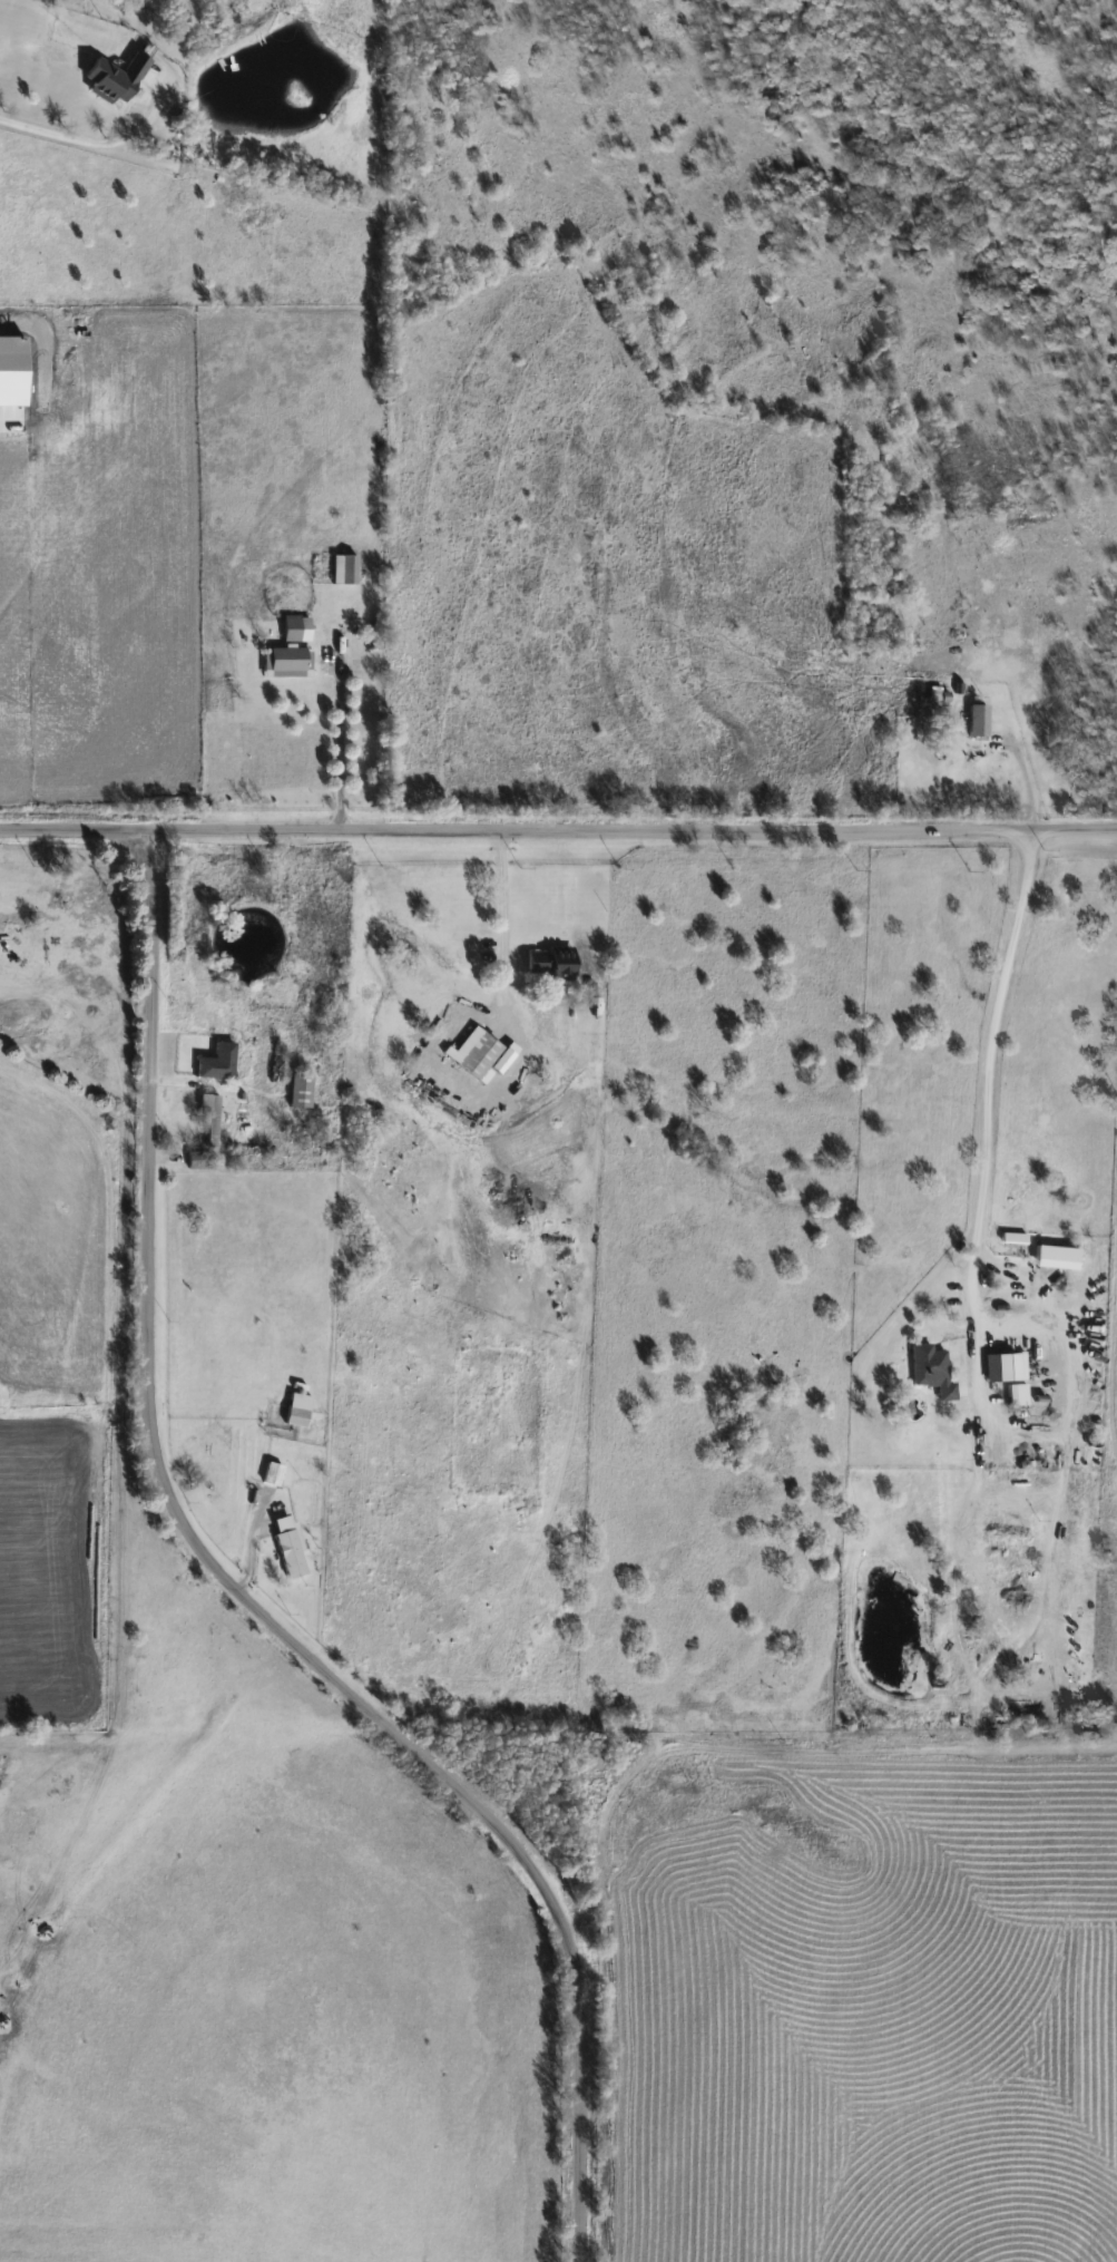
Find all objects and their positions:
building: (114, 76)
road: (59, 142)
building: (342, 568)
building: (294, 627)
building: (285, 662)
building: (938, 694)
building: (974, 721)
building: (949, 738)
road: (340, 747)
road: (558, 832)
road: (502, 890)
building: (89, 903)
building: (547, 964)
building: (474, 1054)
building: (215, 1062)
building: (274, 1063)
building: (298, 1090)
building: (210, 1119)
building: (251, 1151)
building: (1011, 1238)
building: (1052, 1254)
road: (972, 1258)
building: (1002, 1367)
building: (929, 1371)
building: (1013, 1395)
building: (295, 1410)
building: (270, 1474)
road: (1054, 1534)
building: (285, 1548)
road: (243, 1600)

